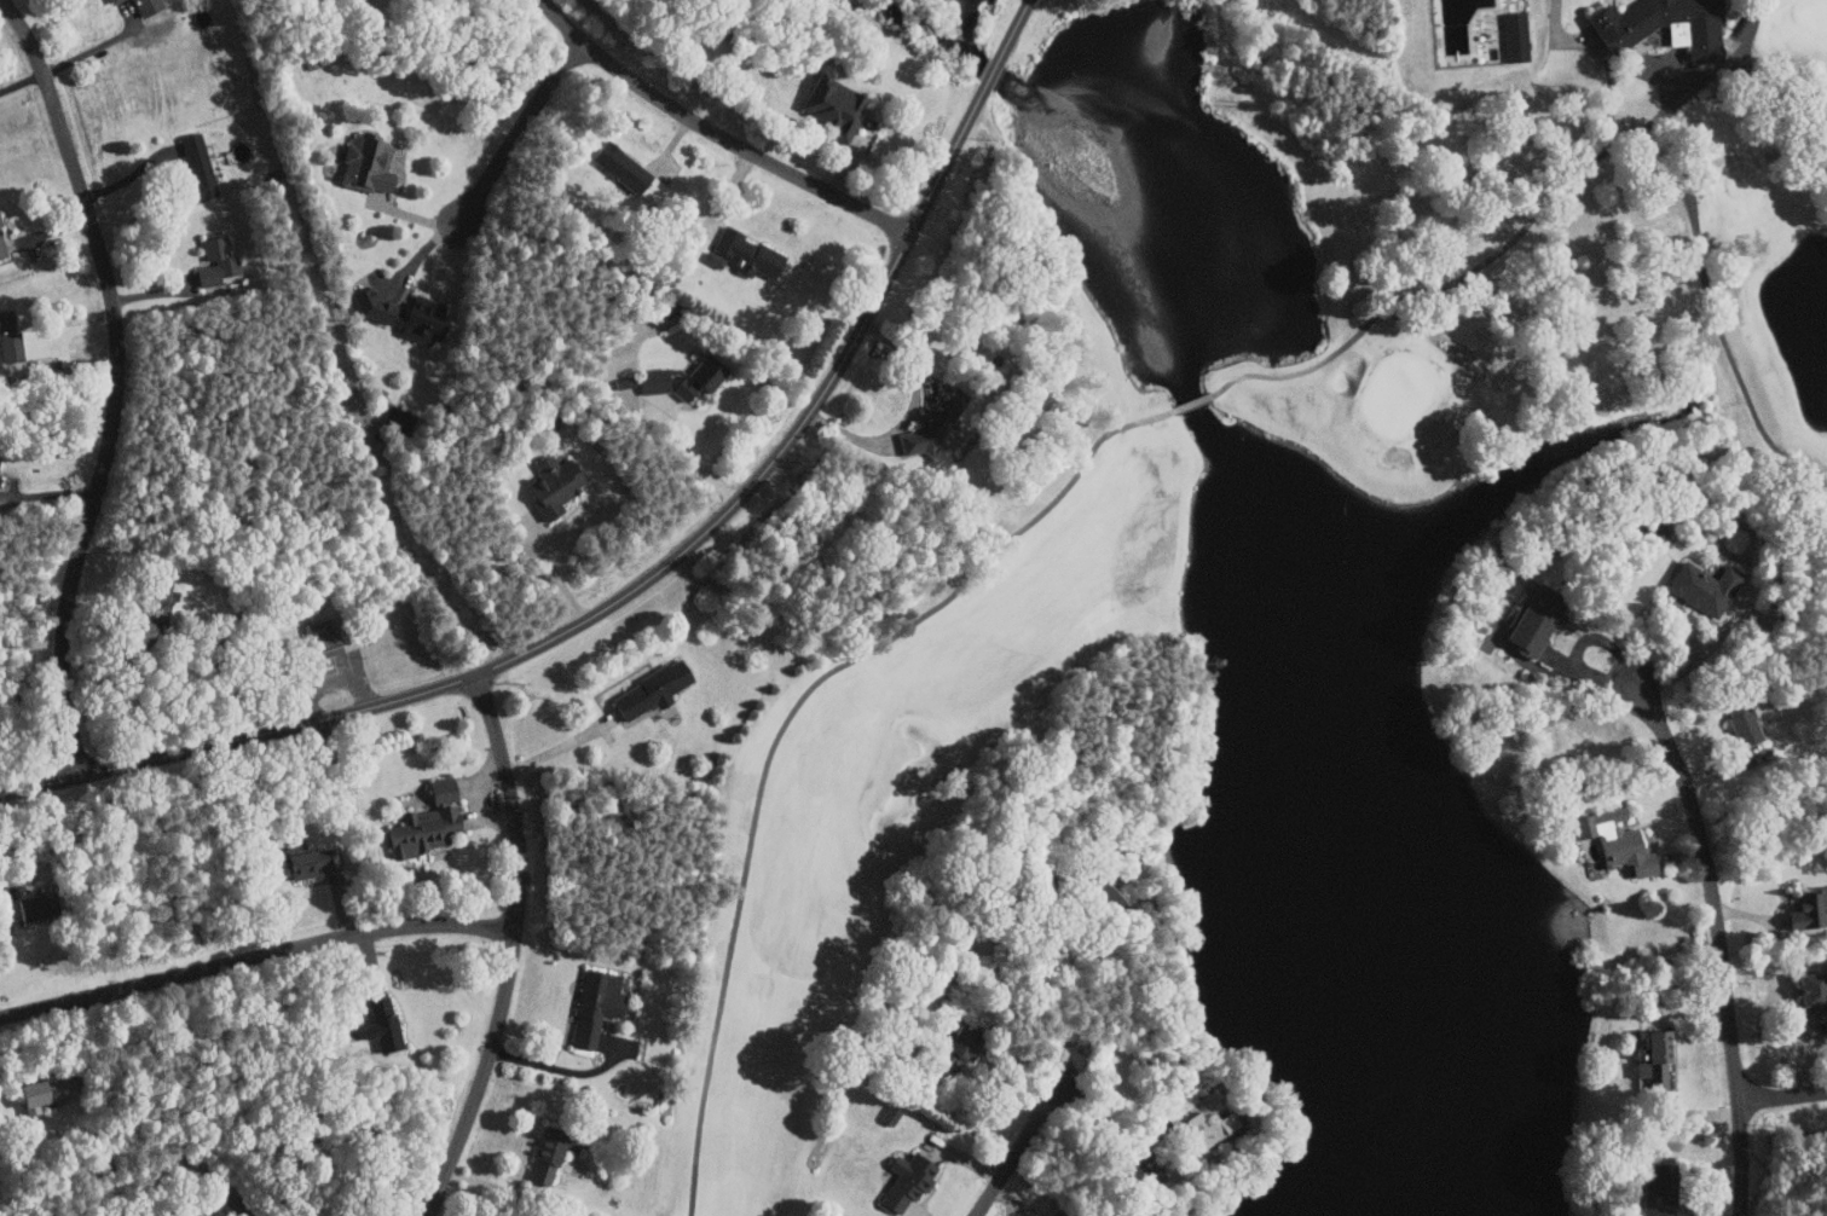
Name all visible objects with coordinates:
road: (1017, 27)
building: (1672, 27)
building: (1513, 36)
road: (98, 46)
road: (994, 69)
road: (1790, 77)
building: (829, 104)
road: (716, 133)
building: (195, 164)
building: (363, 164)
building: (617, 166)
road: (488, 176)
building: (741, 253)
building: (216, 260)
building: (399, 313)
building: (664, 380)
road: (114, 381)
road: (909, 413)
building: (935, 416)
road: (695, 457)
building: (549, 483)
road: (554, 571)
building: (1701, 586)
building: (156, 587)
road: (613, 602)
road: (1679, 619)
park: (1085, 620)
building: (1531, 621)
building: (317, 633)
road: (1579, 644)
building: (647, 690)
building: (1739, 720)
road: (560, 748)
building: (422, 827)
building: (1612, 840)
building: (303, 862)
building: (1094, 892)
building: (25, 905)
building: (1806, 910)
road: (6, 927)
road: (1718, 944)
road: (510, 949)
road: (255, 956)
building: (1809, 1000)
building: (592, 1006)
building: (381, 1023)
building: (953, 1049)
building: (1654, 1056)
road: (557, 1067)
building: (52, 1089)
building: (33, 1093)
road: (1782, 1095)
building: (1199, 1121)
road: (1018, 1151)
building: (544, 1154)
building: (903, 1181)
road: (203, 1182)
building: (1655, 1191)

